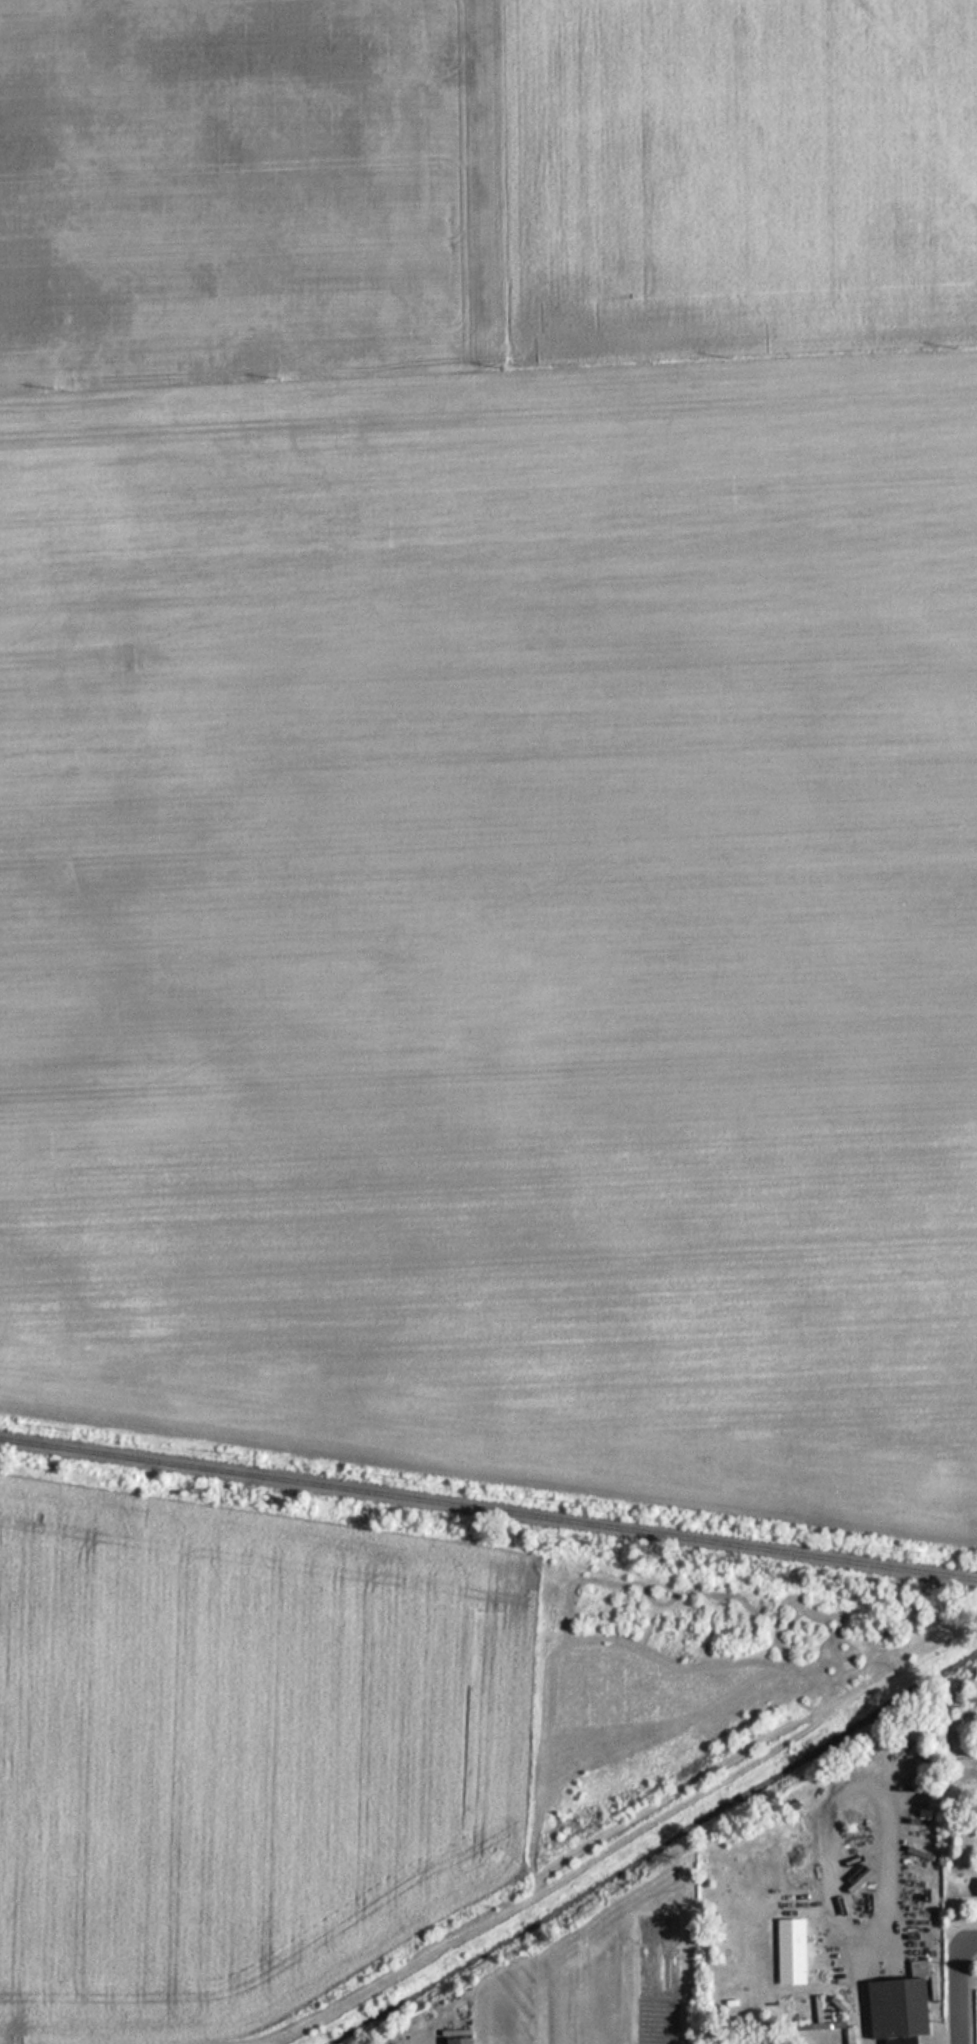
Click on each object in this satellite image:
railway: (488, 1511)
building: (975, 1887)
road: (969, 1919)
road: (970, 1939)
road: (967, 1957)
road: (958, 1991)
building: (897, 2004)
building: (455, 2040)

